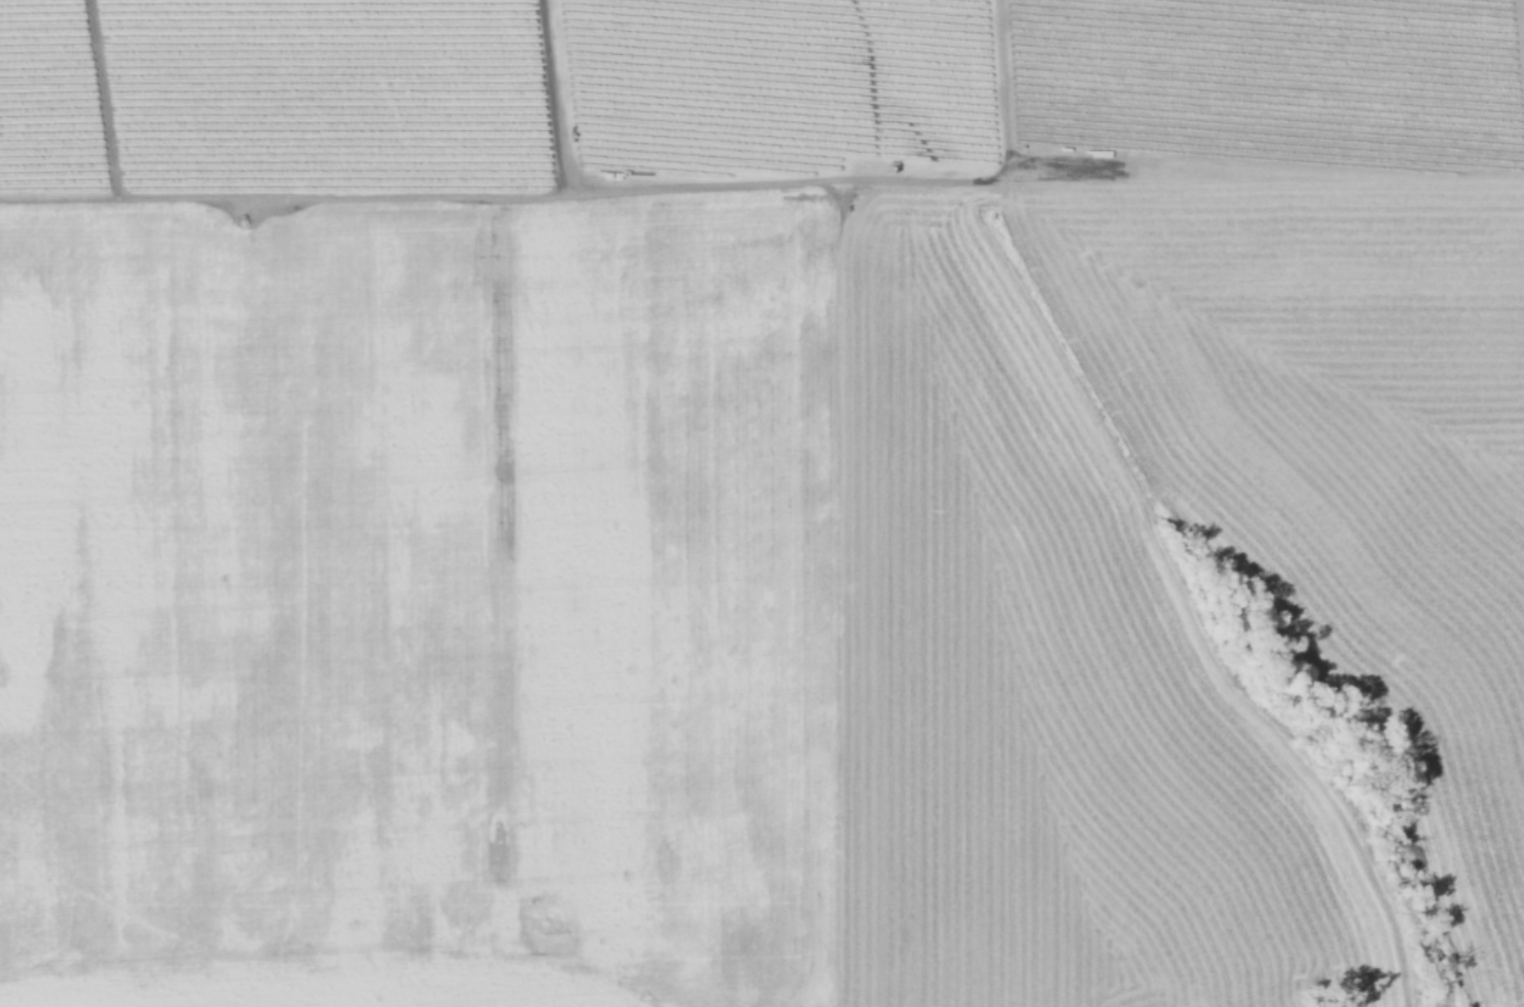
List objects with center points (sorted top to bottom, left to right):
road: (103, 99)
road: (951, 180)
road: (287, 194)
crop: (762, 503)
road: (831, 580)
road: (375, 944)

